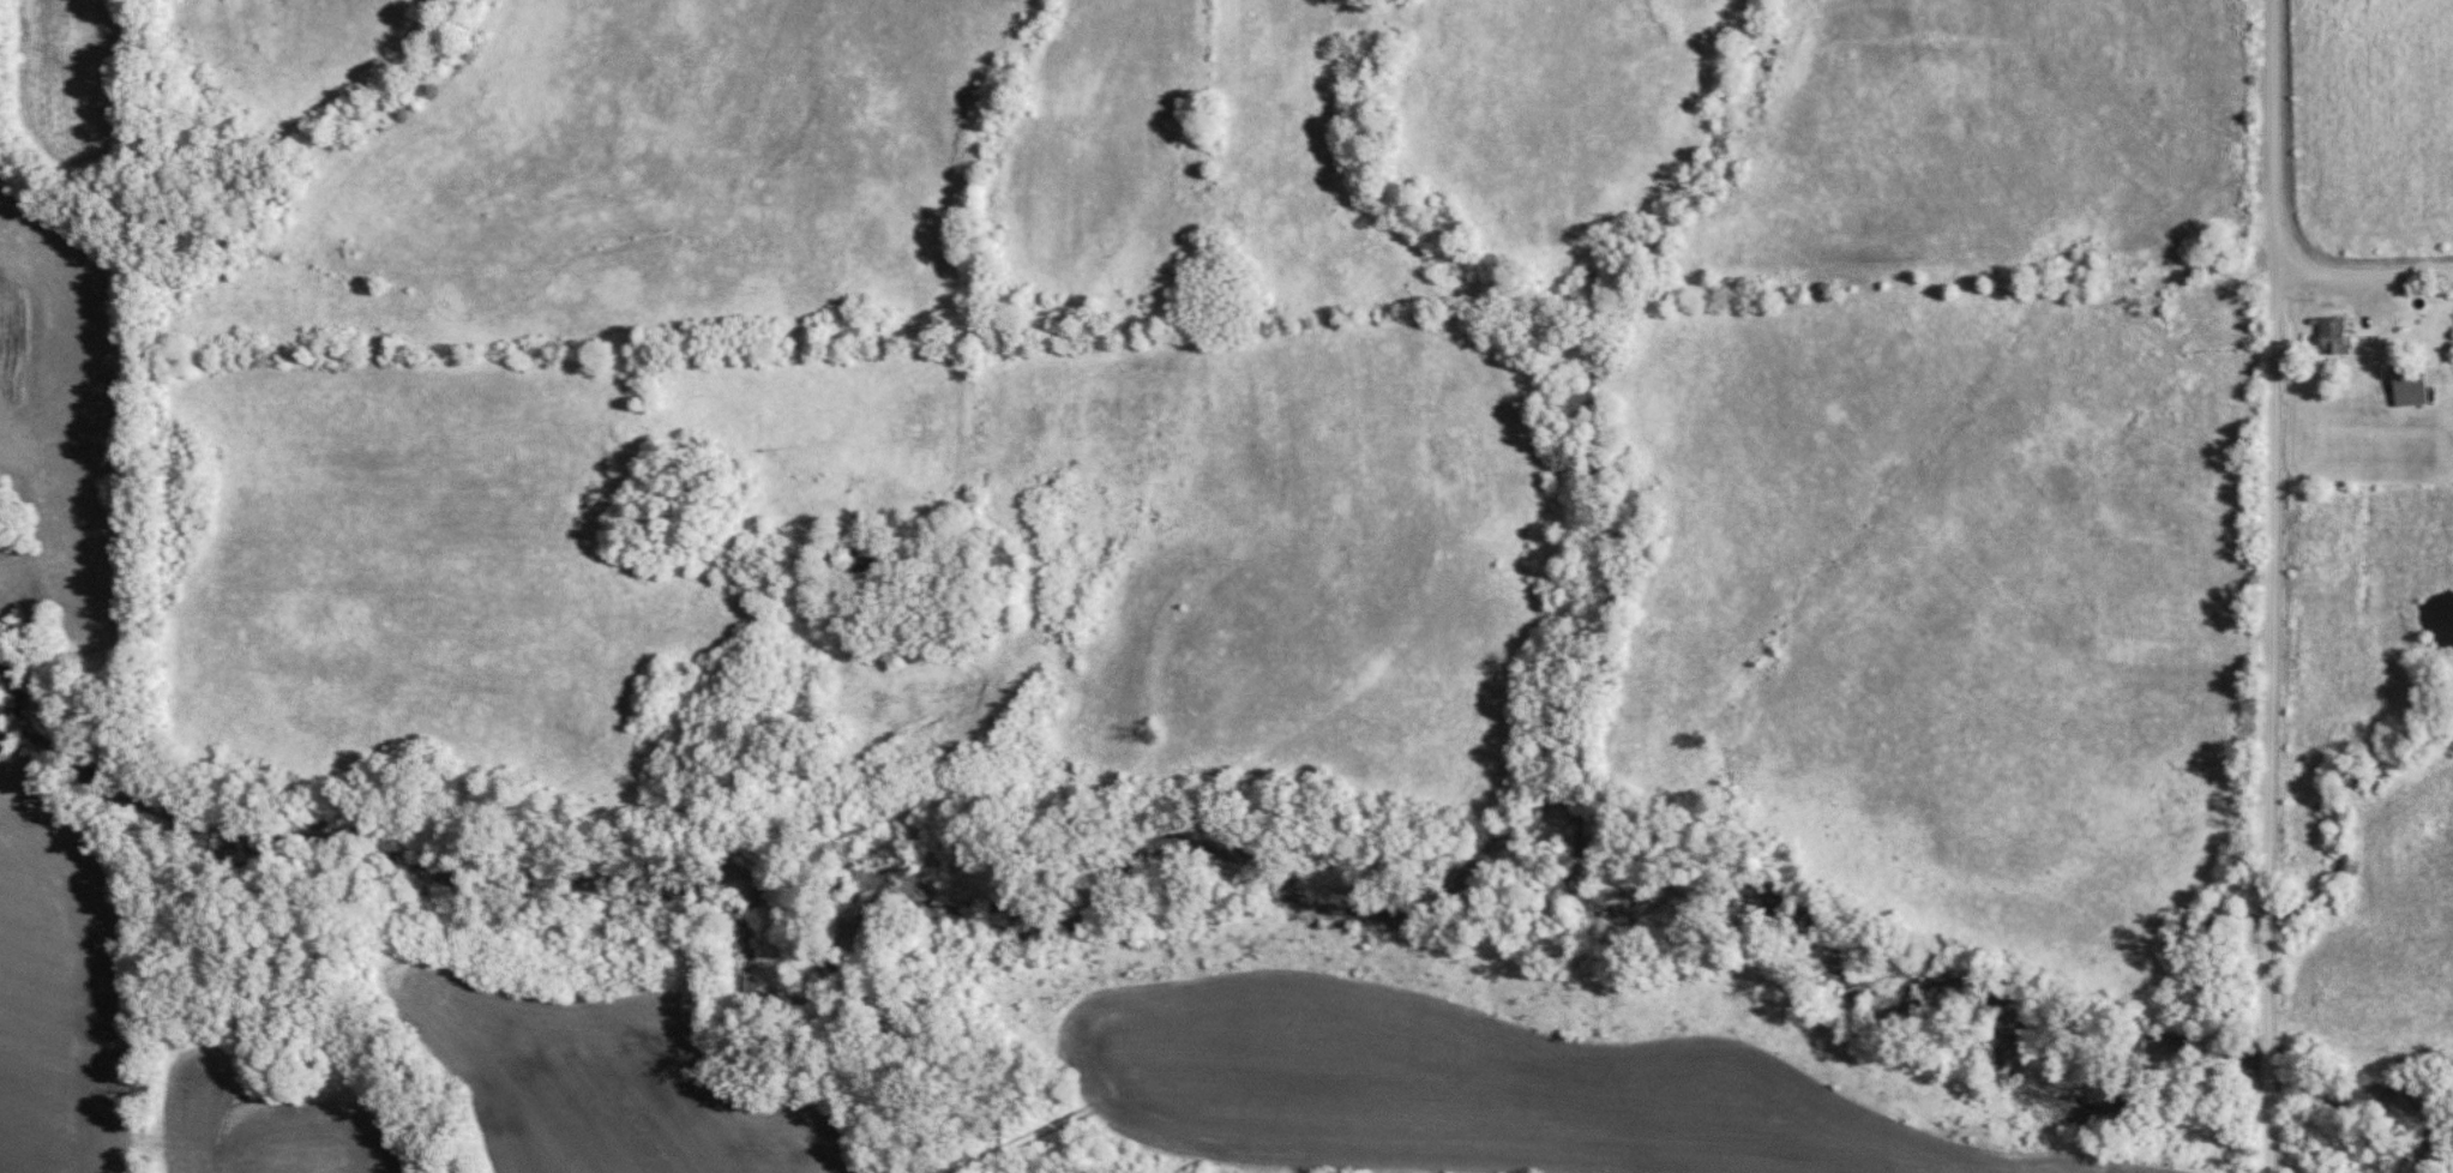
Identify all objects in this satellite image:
road: (2363, 275)
building: (2429, 308)
building: (2333, 336)
building: (2409, 387)
road: (2273, 585)

